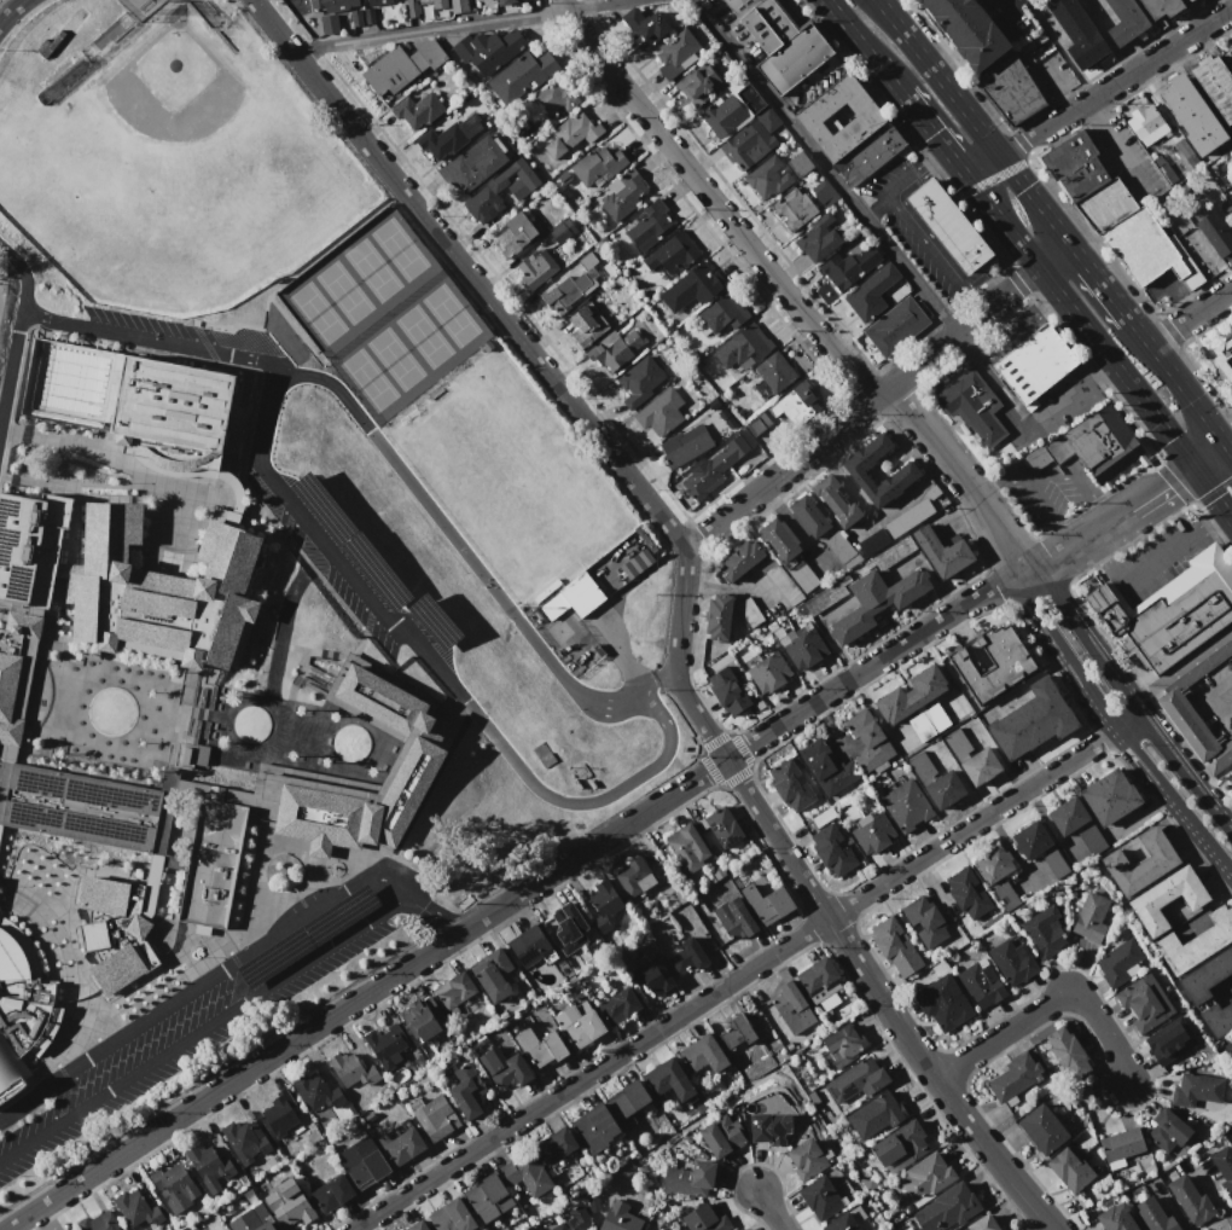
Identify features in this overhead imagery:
building: (380, 1)
building: (1192, 1)
building: (437, 2)
building: (507, 2)
building: (740, 4)
building: (333, 5)
building: (458, 5)
road: (1009, 5)
building: (414, 7)
building: (1162, 8)
road: (12, 16)
building: (370, 16)
building: (355, 18)
building: (1125, 21)
building: (327, 24)
road: (457, 25)
building: (767, 25)
building: (645, 27)
building: (967, 30)
building: (1079, 33)
road: (1104, 36)
road: (864, 46)
building: (489, 50)
building: (675, 52)
building: (794, 58)
building: (1228, 59)
road: (829, 65)
building: (402, 66)
building: (522, 76)
building: (698, 85)
building: (1215, 85)
road: (1056, 88)
building: (1011, 89)
road: (1099, 92)
building: (556, 95)
building: (750, 99)
building: (418, 110)
building: (723, 115)
building: (1191, 115)
building: (868, 117)
road: (974, 120)
building: (1145, 123)
building: (571, 135)
road: (934, 135)
building: (449, 137)
building: (752, 140)
road: (1115, 144)
building: (876, 151)
building: (472, 164)
building: (798, 164)
building: (598, 166)
building: (1074, 166)
building: (767, 178)
building: (502, 191)
building: (622, 192)
building: (823, 192)
road: (715, 203)
building: (1104, 205)
road: (881, 207)
building: (795, 209)
road: (866, 213)
road: (1001, 222)
building: (647, 224)
road: (914, 225)
building: (949, 227)
building: (563, 231)
building: (513, 234)
building: (1216, 237)
building: (1191, 238)
building: (818, 239)
building: (1141, 248)
building: (672, 253)
road: (1053, 254)
building: (849, 267)
building: (536, 268)
road: (1099, 279)
building: (692, 286)
building: (566, 292)
building: (871, 294)
park: (0, 296)
building: (723, 313)
road: (1191, 317)
building: (587, 326)
building: (895, 326)
road: (22, 330)
road: (1139, 330)
road: (150, 337)
building: (743, 346)
building: (614, 349)
building: (1224, 358)
road: (540, 362)
building: (1035, 362)
road: (1115, 366)
traffic signals: (1115, 366)
building: (773, 375)
building: (640, 382)
road: (1187, 394)
road: (1073, 396)
building: (795, 404)
building: (172, 405)
building: (972, 406)
road: (861, 407)
building: (661, 412)
building: (757, 424)
building: (1096, 443)
traffic signals: (1227, 445)
building: (685, 446)
road: (1230, 447)
road: (1209, 456)
building: (855, 468)
traffic signals: (1192, 468)
road: (960, 471)
building: (707, 474)
park: (502, 476)
road: (1053, 477)
road: (1211, 495)
building: (836, 501)
road: (1046, 514)
building: (809, 516)
building: (908, 517)
road: (1213, 518)
road: (1109, 522)
building: (780, 539)
building: (873, 541)
road: (457, 543)
building: (30, 545)
building: (839, 546)
road: (1099, 547)
building: (941, 552)
building: (105, 553)
building: (891, 553)
building: (228, 556)
building: (740, 559)
road: (1152, 562)
building: (803, 575)
building: (786, 587)
building: (573, 597)
building: (876, 601)
building: (85, 607)
building: (749, 611)
building: (1170, 613)
road: (281, 615)
building: (719, 617)
building: (24, 625)
building: (232, 632)
building: (152, 642)
building: (804, 649)
road: (622, 656)
building: (992, 662)
road: (437, 668)
building: (769, 673)
road: (658, 683)
building: (8, 686)
building: (728, 691)
building: (908, 695)
road: (1128, 696)
road: (1210, 696)
parking lot: (1211, 697)
building: (1176, 709)
building: (926, 721)
building: (1031, 721)
road: (1114, 731)
building: (868, 741)
building: (971, 756)
building: (406, 759)
building: (825, 767)
building: (936, 781)
building: (790, 785)
building: (1231, 787)
building: (1110, 796)
building: (903, 805)
building: (77, 807)
building: (1076, 824)
building: (722, 826)
building: (0, 829)
building: (872, 831)
building: (1030, 840)
building: (688, 848)
building: (831, 849)
building: (1140, 860)
building: (213, 863)
building: (1053, 863)
building: (634, 876)
building: (996, 876)
building: (967, 894)
building: (103, 895)
road: (513, 897)
building: (1164, 897)
building: (604, 900)
building: (767, 903)
road: (437, 911)
building: (1091, 917)
building: (734, 918)
building: (923, 919)
building: (138, 927)
building: (569, 928)
building: (1044, 930)
building: (94, 935)
building: (1195, 940)
building: (528, 945)
building: (895, 946)
building: (687, 956)
building: (1011, 962)
building: (1118, 962)
building: (117, 969)
road: (744, 971)
building: (493, 975)
building: (651, 976)
building: (1205, 976)
building: (819, 979)
building: (980, 982)
road: (199, 984)
building: (455, 990)
road: (881, 999)
building: (1145, 1002)
building: (942, 1003)
building: (18, 1004)
road: (1047, 1004)
building: (618, 1005)
building: (788, 1011)
building: (422, 1019)
building: (1218, 1019)
building: (579, 1025)
road: (204, 1027)
building: (737, 1033)
building: (1168, 1040)
building: (385, 1045)
building: (843, 1045)
building: (539, 1048)
building: (1068, 1052)
building: (703, 1054)
building: (504, 1068)
building: (351, 1071)
building: (1013, 1078)
building: (668, 1079)
building: (856, 1080)
building: (1196, 1089)
building: (467, 1091)
building: (316, 1092)
building: (628, 1100)
building: (280, 1113)
building: (879, 1115)
building: (435, 1116)
building: (1041, 1127)
building: (594, 1129)
building: (769, 1129)
building: (1169, 1133)
building: (721, 1136)
building: (245, 1139)
building: (1231, 1142)
building: (401, 1145)
building: (557, 1145)
building: (899, 1145)
building: (1121, 1147)
building: (808, 1155)
building: (210, 1167)
building: (1224, 1167)
building: (364, 1168)
building: (1068, 1168)
building: (527, 1174)
building: (926, 1177)
building: (688, 1178)
building: (175, 1187)
building: (332, 1193)
building: (820, 1196)
building: (488, 1197)
building: (1190, 1200)
building: (289, 1203)
building: (947, 1207)
road: (769, 1208)
building: (136, 1209)
building: (452, 1216)
building: (1153, 1216)
building: (618, 1217)
building: (1115, 1218)
building: (251, 1219)
building: (574, 1219)
building: (703, 1219)
building: (844, 1220)
building: (98, 1222)
building: (983, 1223)
building: (418, 1226)
building: (666, 1229)
building: (738, 1229)

